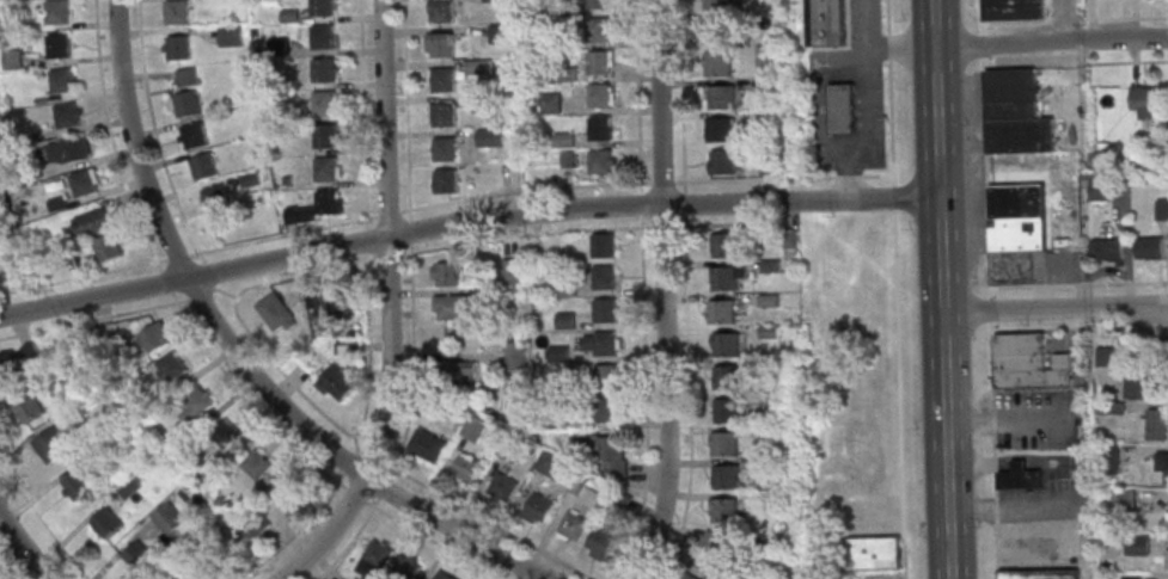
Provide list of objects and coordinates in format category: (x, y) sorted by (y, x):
building: (490, 0)
building: (597, 4)
building: (717, 5)
building: (322, 8)
building: (1013, 10)
building: (176, 11)
building: (441, 11)
building: (57, 13)
road: (980, 16)
road: (1074, 18)
building: (826, 23)
building: (598, 30)
building: (716, 32)
building: (497, 33)
building: (231, 35)
building: (323, 38)
road: (1050, 43)
building: (442, 45)
road: (898, 45)
building: (60, 47)
building: (177, 47)
building: (763, 55)
building: (12, 58)
road: (1025, 60)
road: (1118, 62)
building: (600, 63)
building: (717, 64)
road: (1069, 69)
building: (323, 70)
building: (475, 70)
building: (186, 76)
building: (444, 80)
building: (62, 81)
building: (599, 96)
building: (721, 98)
building: (1145, 99)
building: (324, 103)
road: (864, 103)
building: (184, 104)
building: (548, 104)
building: (842, 110)
building: (444, 115)
building: (1015, 115)
building: (67, 116)
road: (363, 119)
building: (775, 119)
building: (600, 129)
building: (720, 131)
building: (194, 135)
building: (325, 136)
building: (489, 137)
road: (154, 140)
building: (75, 150)
building: (445, 150)
building: (1099, 160)
building: (601, 161)
building: (724, 164)
building: (768, 165)
building: (203, 166)
building: (326, 168)
road: (892, 178)
road: (408, 179)
road: (788, 179)
building: (446, 181)
building: (84, 183)
building: (1099, 190)
building: (213, 197)
building: (326, 203)
road: (464, 222)
building: (92, 223)
road: (662, 226)
building: (1015, 232)
road: (525, 235)
road: (386, 239)
road: (243, 242)
building: (604, 245)
building: (106, 247)
building: (726, 247)
building: (1149, 248)
building: (1107, 252)
road: (372, 253)
building: (510, 271)
building: (446, 273)
road: (295, 275)
building: (4, 276)
building: (605, 278)
building: (724, 279)
road: (1078, 284)
road: (209, 288)
building: (564, 289)
road: (938, 289)
road: (685, 290)
road: (664, 291)
road: (643, 292)
building: (334, 301)
road: (989, 304)
building: (452, 306)
road: (1053, 308)
building: (606, 310)
building: (276, 313)
building: (723, 313)
road: (98, 316)
road: (1143, 316)
building: (565, 321)
road: (1082, 329)
building: (155, 337)
building: (607, 344)
building: (727, 345)
road: (208, 351)
road: (368, 353)
road: (234, 356)
building: (515, 356)
building: (1105, 356)
building: (18, 361)
building: (1028, 364)
building: (173, 365)
road: (281, 372)
building: (458, 376)
building: (609, 376)
building: (727, 377)
building: (337, 382)
building: (74, 386)
building: (1138, 387)
building: (195, 405)
building: (29, 407)
building: (609, 409)
building: (727, 411)
road: (1007, 418)
building: (1154, 424)
building: (473, 429)
building: (227, 433)
building: (724, 443)
building: (51, 445)
building: (429, 445)
building: (610, 448)
building: (1111, 458)
building: (1162, 462)
building: (257, 464)
building: (550, 464)
building: (469, 468)
road: (899, 468)
road: (689, 469)
road: (646, 470)
building: (726, 476)
building: (1019, 476)
road: (385, 479)
building: (79, 485)
building: (128, 487)
building: (504, 487)
building: (294, 500)
building: (542, 507)
building: (724, 510)
road: (1050, 510)
road: (475, 513)
road: (312, 516)
building: (170, 519)
road: (42, 523)
building: (106, 523)
building: (259, 525)
building: (576, 526)
road: (328, 532)
building: (711, 541)
building: (603, 543)
building: (1137, 544)
road: (22, 549)
building: (874, 553)
building: (140, 555)
building: (380, 555)
building: (1167, 555)
building: (408, 568)
road: (5, 573)
building: (1041, 574)
building: (445, 575)
building: (689, 577)
building: (1126, 577)

